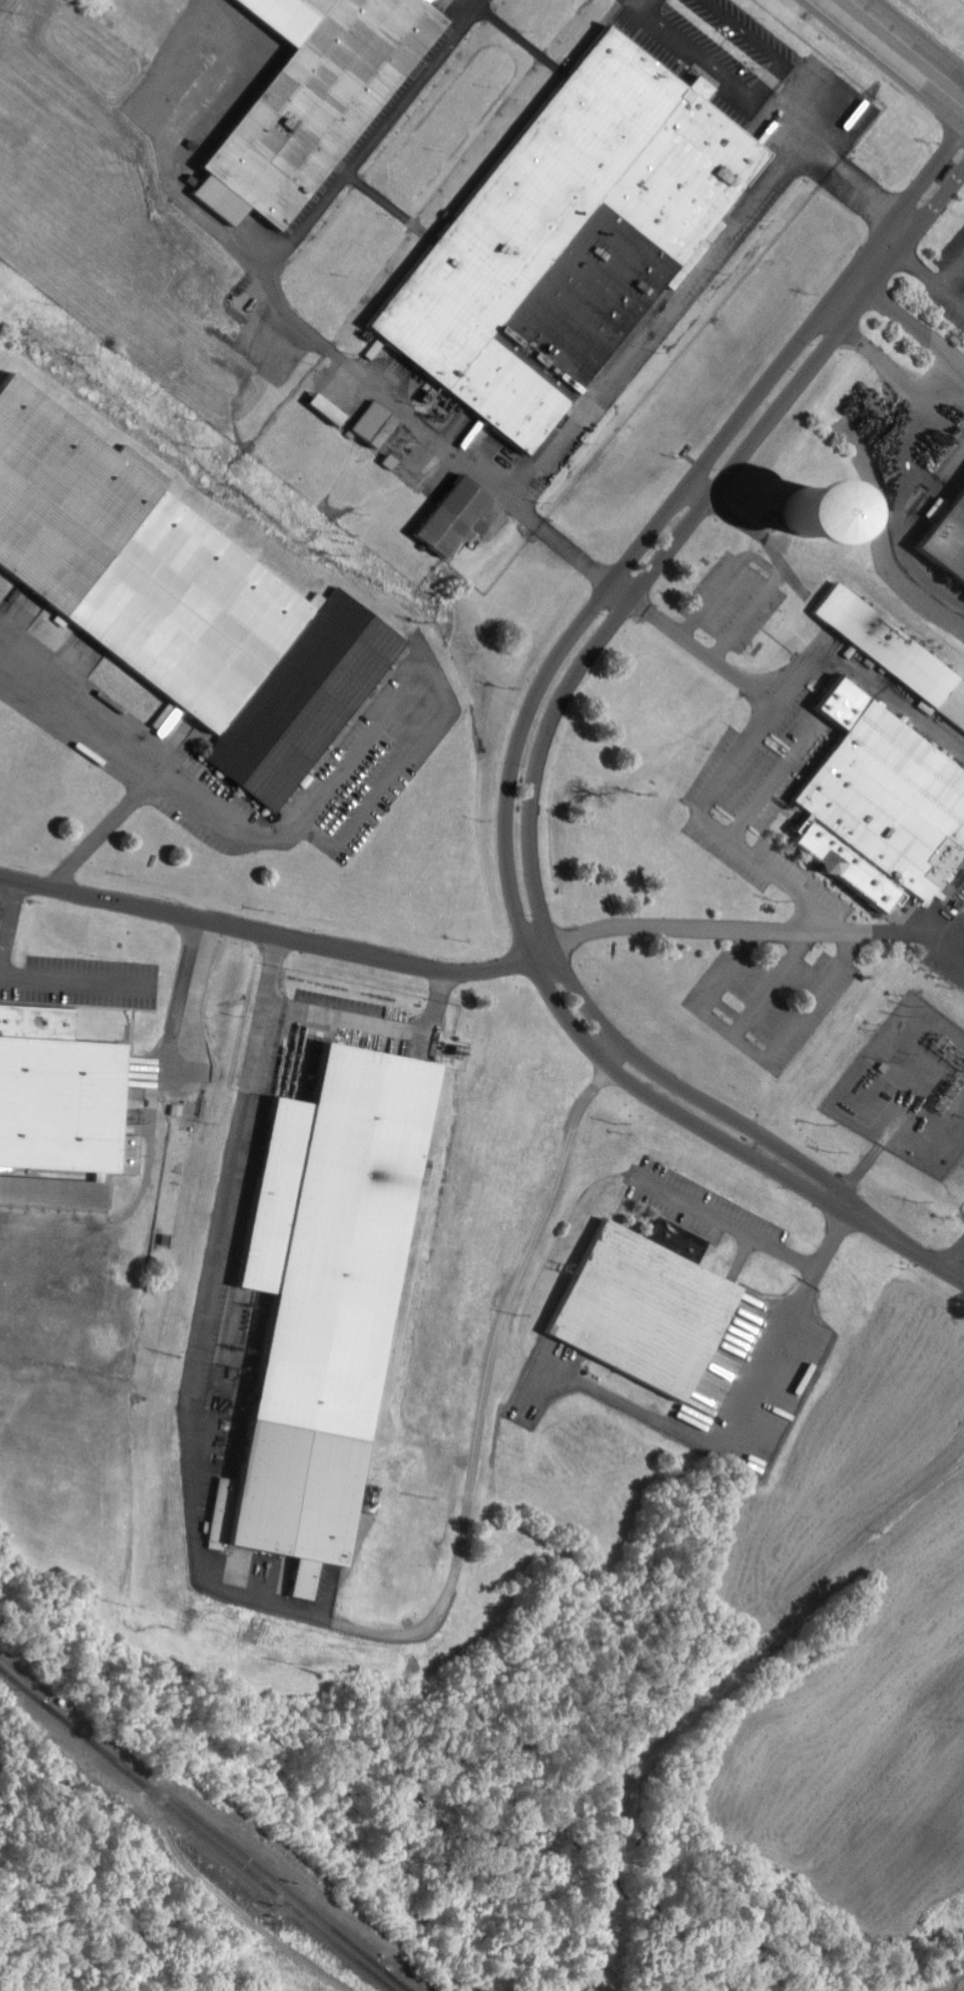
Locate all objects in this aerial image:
road: (902, 50)
building: (313, 101)
building: (569, 236)
road: (914, 262)
road: (954, 274)
road: (954, 294)
road: (936, 381)
building: (327, 412)
building: (375, 426)
building: (937, 512)
water tower: (804, 514)
building: (454, 518)
building: (948, 545)
building: (180, 600)
building: (892, 655)
road: (521, 738)
road: (543, 750)
road: (785, 770)
building: (881, 807)
road: (737, 848)
road: (11, 921)
road: (278, 940)
road: (52, 982)
road: (769, 1059)
power substation: (909, 1090)
building: (60, 1112)
building: (425, 1176)
road: (954, 1278)
building: (321, 1296)
building: (646, 1307)
railway: (195, 1831)
railway: (262, 1874)
railway: (943, 1982)
railway: (400, 1985)

